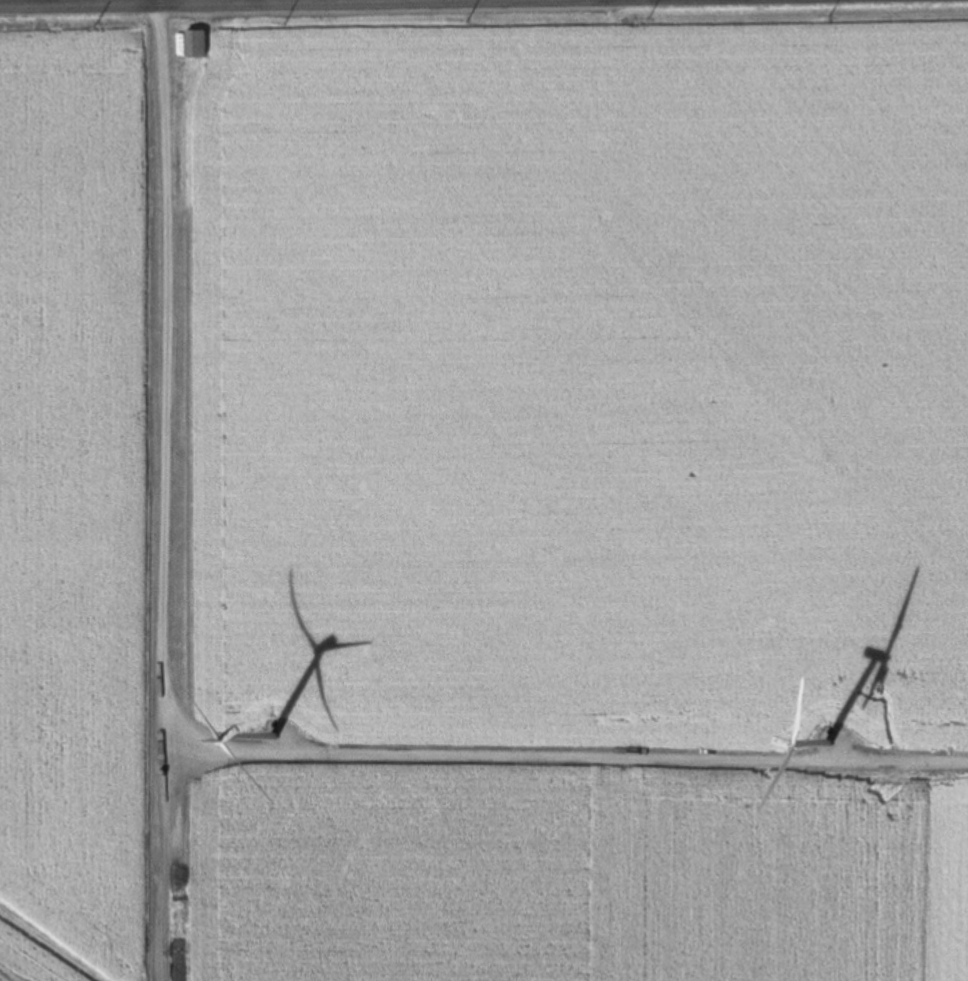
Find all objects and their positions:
road: (233, 3)
building: (194, 44)
wind turbine: (302, 752)
wind turbine: (862, 776)

